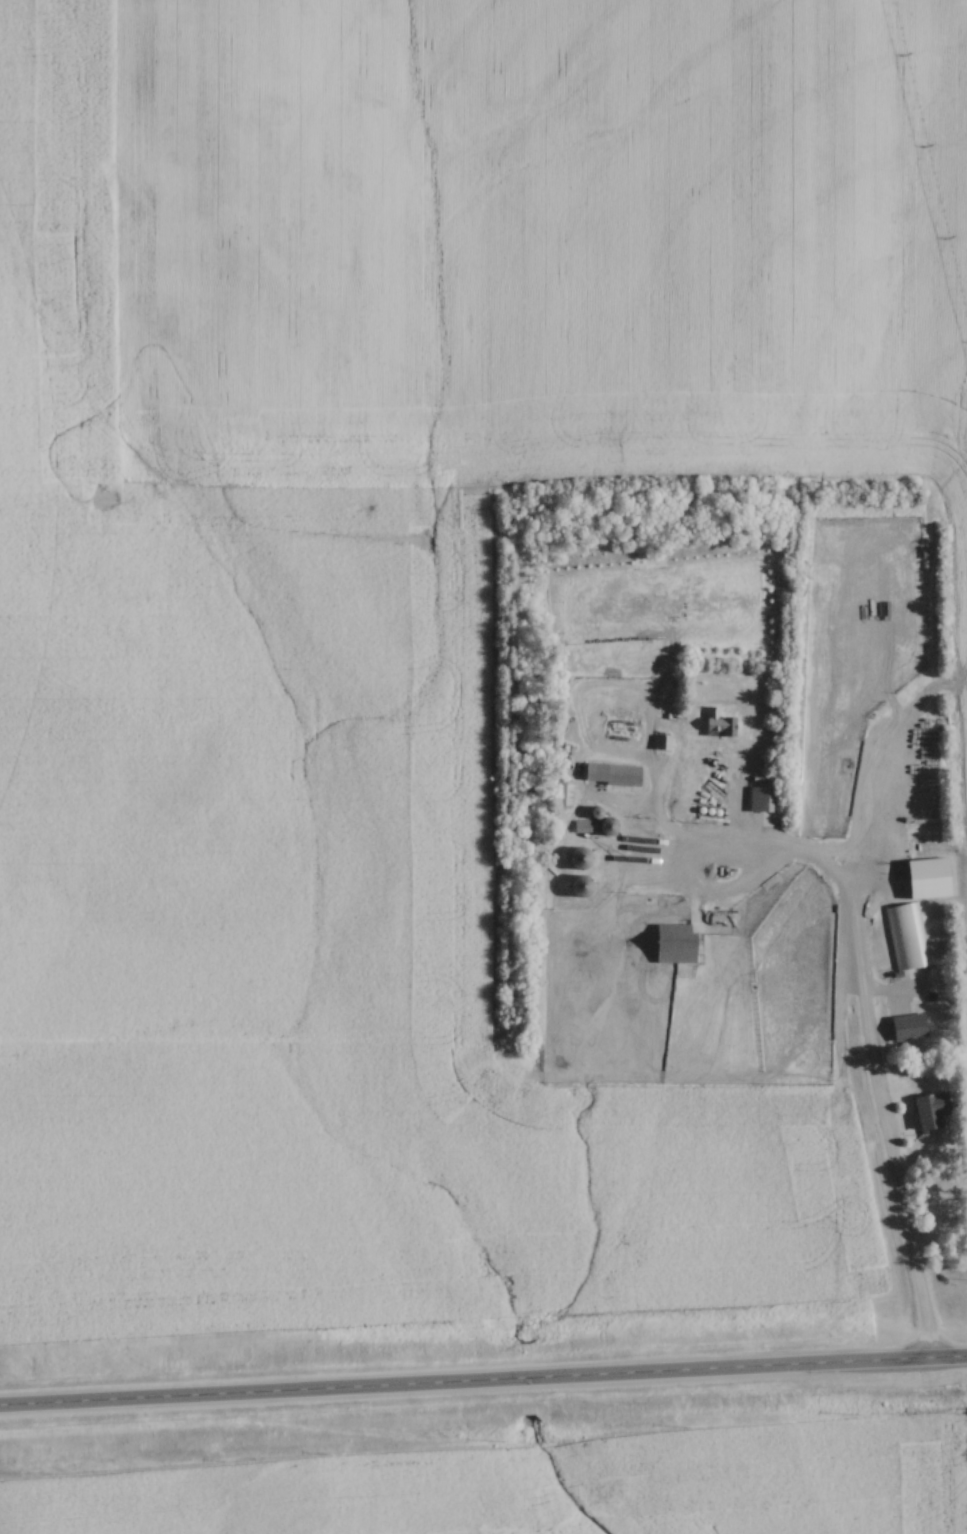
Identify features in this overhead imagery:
building: (723, 724)
building: (664, 742)
building: (614, 774)
building: (569, 793)
building: (762, 799)
building: (585, 827)
road: (728, 855)
building: (584, 859)
building: (586, 886)
building: (906, 937)
building: (679, 944)
road: (873, 1094)
building: (936, 1111)
road: (483, 1384)

